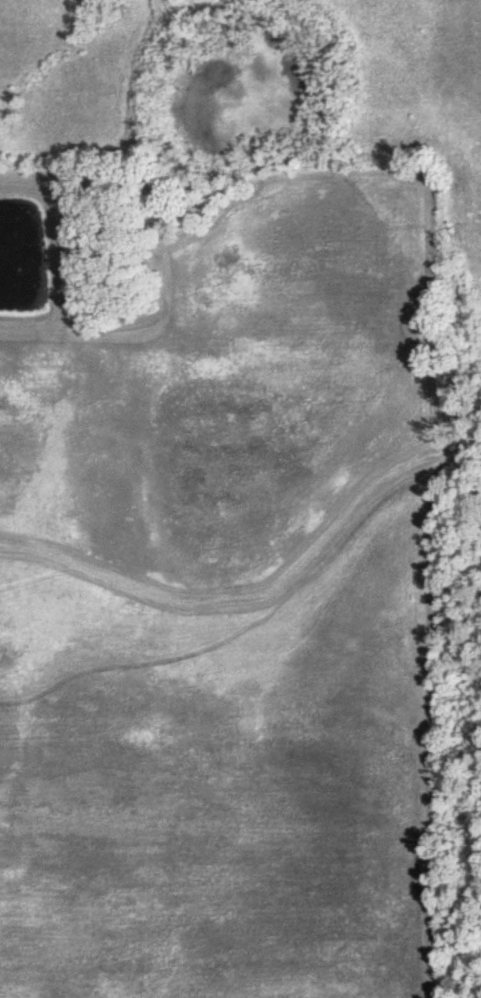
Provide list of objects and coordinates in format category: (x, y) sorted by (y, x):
crop: (218, 791)

